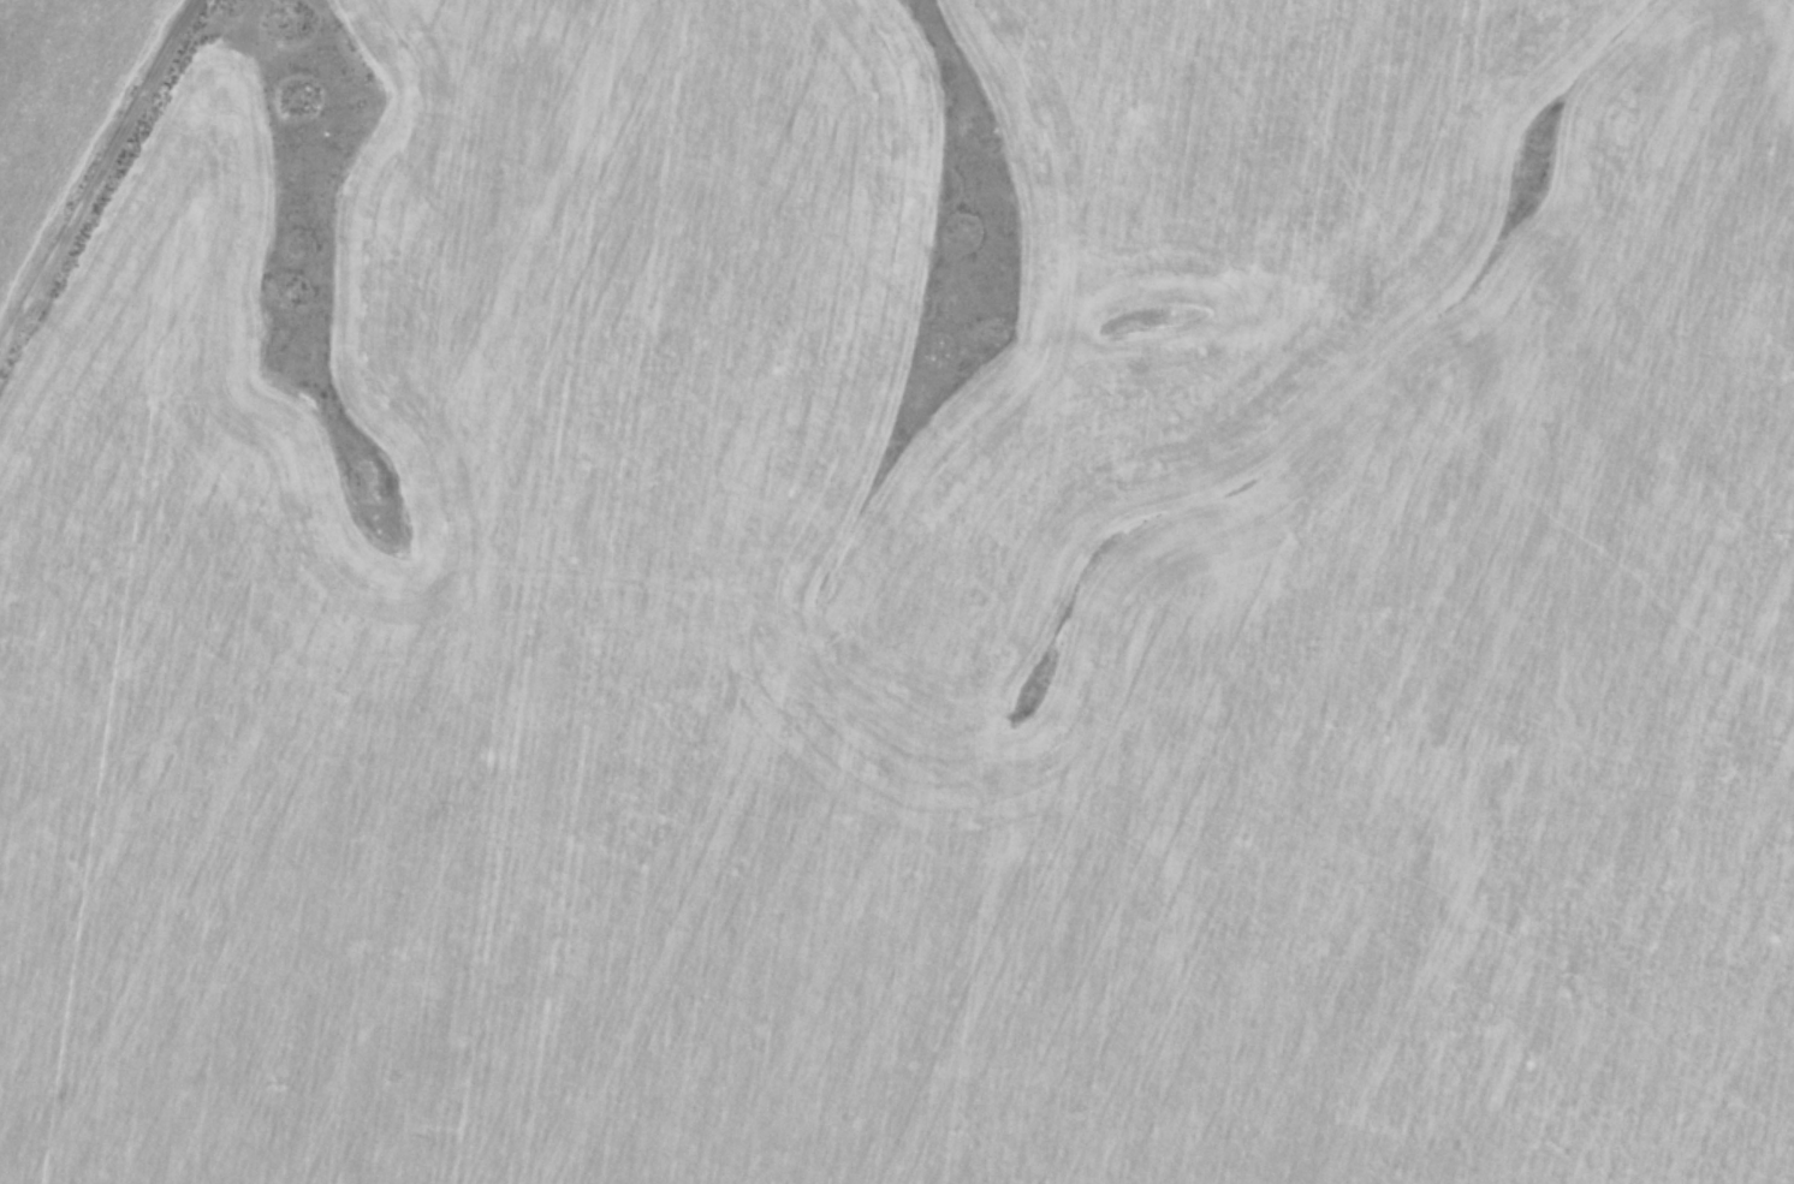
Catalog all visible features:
road: (95, 178)

